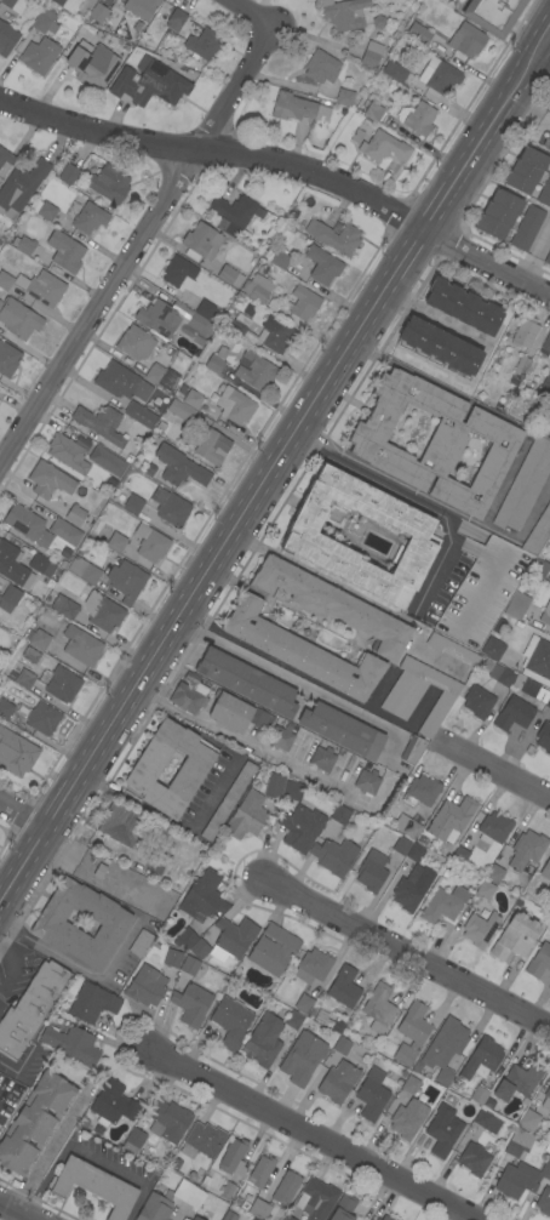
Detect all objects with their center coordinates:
building: (13, 5)
building: (65, 5)
building: (141, 7)
road: (260, 12)
building: (344, 13)
building: (96, 15)
building: (493, 15)
building: (176, 18)
building: (45, 22)
building: (378, 22)
building: (137, 25)
road: (549, 32)
building: (418, 33)
building: (85, 36)
building: (6, 38)
building: (466, 40)
building: (202, 42)
building: (371, 53)
building: (39, 55)
building: (92, 64)
building: (321, 67)
building: (394, 70)
building: (439, 75)
building: (149, 82)
building: (344, 97)
building: (297, 108)
building: (373, 110)
road: (527, 112)
building: (549, 112)
building: (419, 118)
building: (389, 122)
building: (356, 135)
building: (546, 142)
building: (384, 147)
building: (6, 156)
road: (287, 160)
building: (526, 170)
building: (68, 173)
building: (108, 183)
building: (21, 187)
building: (545, 193)
building: (42, 209)
building: (71, 210)
building: (233, 212)
building: (498, 213)
building: (88, 218)
building: (220, 223)
building: (527, 228)
building: (334, 236)
building: (257, 240)
building: (201, 241)
road: (142, 244)
building: (23, 245)
building: (64, 251)
road: (535, 255)
building: (546, 258)
building: (280, 260)
building: (322, 264)
building: (178, 273)
building: (229, 275)
building: (6, 277)
building: (41, 287)
building: (257, 289)
building: (303, 302)
building: (271, 306)
building: (463, 306)
building: (247, 309)
building: (183, 312)
building: (214, 317)
building: (18, 318)
building: (157, 318)
building: (199, 323)
building: (245, 329)
building: (525, 331)
building: (277, 333)
building: (134, 342)
building: (440, 346)
building: (545, 346)
building: (7, 359)
building: (216, 360)
building: (522, 364)
building: (141, 366)
building: (254, 370)
building: (161, 376)
building: (121, 382)
building: (544, 387)
building: (191, 398)
building: (234, 405)
building: (181, 410)
building: (139, 414)
building: (101, 423)
building: (548, 431)
building: (81, 441)
building: (435, 441)
building: (212, 446)
building: (67, 454)
building: (127, 457)
building: (107, 461)
building: (179, 467)
road: (273, 468)
building: (150, 471)
building: (48, 480)
building: (111, 481)
building: (525, 484)
road: (417, 498)
building: (133, 503)
building: (170, 507)
building: (41, 512)
building: (74, 515)
building: (27, 525)
building: (64, 532)
building: (538, 534)
building: (305, 537)
building: (116, 542)
building: (150, 543)
building: (56, 546)
building: (11, 564)
building: (41, 564)
building: (539, 568)
building: (84, 570)
building: (126, 581)
building: (8, 598)
building: (332, 604)
building: (517, 605)
building: (64, 606)
building: (101, 611)
building: (545, 614)
building: (40, 639)
building: (81, 646)
building: (493, 648)
building: (452, 650)
building: (300, 651)
building: (30, 655)
building: (537, 660)
road: (294, 671)
building: (502, 675)
building: (24, 679)
building: (247, 682)
building: (59, 683)
building: (529, 688)
building: (419, 692)
building: (189, 696)
building: (477, 701)
building: (548, 703)
building: (5, 708)
building: (237, 713)
building: (514, 713)
building: (40, 718)
building: (342, 730)
building: (544, 736)
building: (281, 737)
road: (242, 746)
building: (412, 749)
building: (16, 753)
building: (322, 758)
building: (145, 768)
road: (495, 774)
building: (367, 781)
building: (274, 786)
building: (292, 791)
building: (420, 791)
building: (228, 799)
building: (246, 816)
road: (22, 817)
building: (451, 819)
building: (336, 820)
road: (170, 825)
building: (406, 826)
building: (120, 827)
building: (300, 827)
building: (493, 828)
building: (401, 844)
building: (526, 849)
building: (414, 853)
building: (549, 853)
building: (334, 855)
building: (460, 855)
building: (156, 861)
building: (545, 870)
building: (98, 871)
building: (372, 871)
building: (494, 873)
building: (411, 887)
building: (485, 890)
building: (202, 896)
building: (442, 905)
building: (52, 928)
building: (480, 929)
building: (515, 936)
building: (184, 937)
building: (231, 937)
building: (549, 941)
building: (139, 943)
building: (199, 948)
building: (273, 948)
road: (408, 956)
building: (172, 958)
building: (539, 960)
building: (189, 965)
building: (313, 965)
road: (13, 967)
building: (145, 986)
building: (344, 986)
building: (92, 1003)
building: (303, 1003)
building: (191, 1004)
building: (378, 1007)
building: (30, 1008)
building: (293, 1019)
building: (230, 1020)
building: (411, 1032)
building: (263, 1039)
building: (71, 1044)
building: (342, 1045)
building: (445, 1048)
building: (302, 1057)
building: (481, 1059)
building: (338, 1081)
building: (517, 1081)
building: (409, 1084)
building: (372, 1094)
building: (479, 1095)
building: (546, 1099)
building: (113, 1104)
building: (408, 1118)
building: (168, 1121)
building: (487, 1121)
building: (531, 1121)
building: (549, 1121)
building: (34, 1122)
building: (442, 1130)
road: (314, 1135)
building: (205, 1139)
building: (133, 1140)
building: (519, 1142)
road: (46, 1151)
building: (233, 1157)
building: (474, 1158)
building: (174, 1163)
building: (545, 1170)
building: (259, 1171)
building: (190, 1175)
building: (515, 1179)
building: (93, 1185)
building: (286, 1187)
building: (227, 1190)
building: (188, 1193)
building: (317, 1198)
building: (544, 1201)
building: (155, 1207)
building: (259, 1208)
building: (343, 1208)
road: (19, 1209)
building: (230, 1214)
building: (195, 1218)
building: (252, 1218)
building: (287, 1218)
building: (385, 1218)
building: (184, 1219)
building: (378, 1219)
building: (396, 1219)

